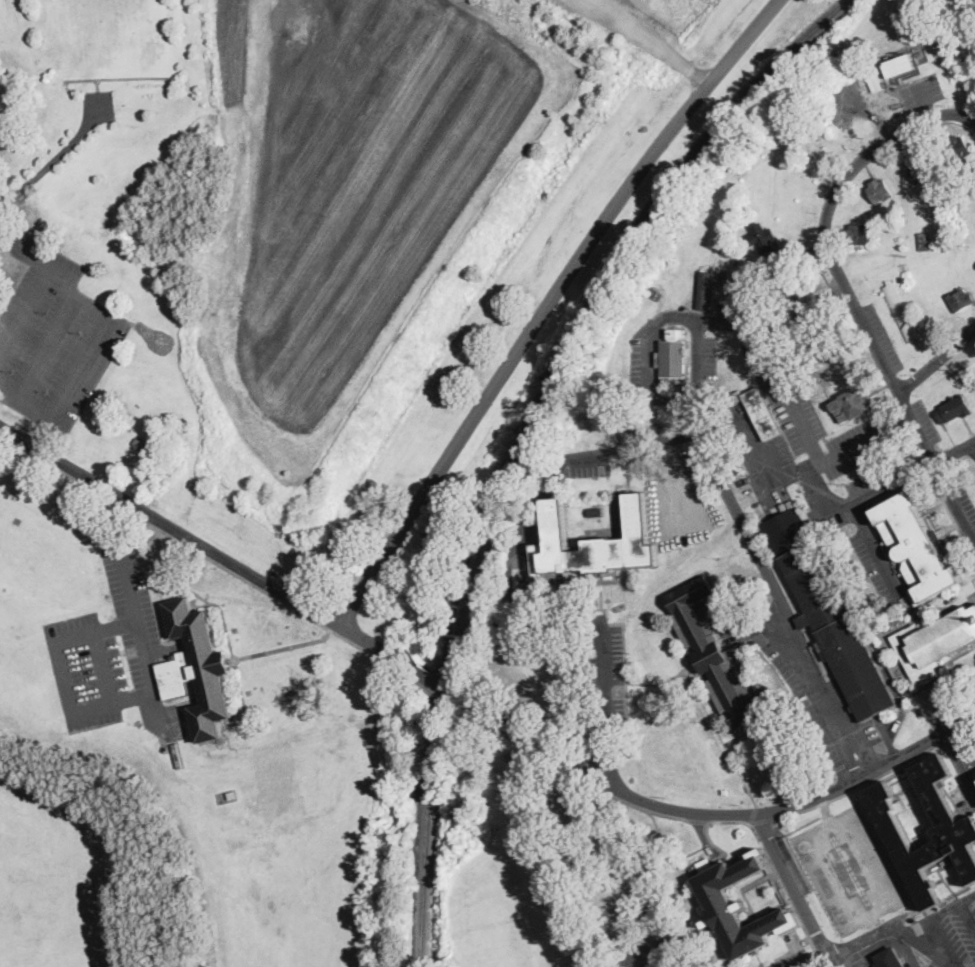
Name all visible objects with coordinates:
park: (106, 36)
road: (649, 41)
building: (899, 64)
building: (959, 147)
building: (919, 169)
road: (848, 172)
building: (880, 191)
building: (860, 234)
building: (762, 238)
building: (925, 241)
building: (737, 246)
road: (26, 247)
building: (735, 253)
building: (761, 278)
building: (904, 279)
building: (705, 291)
building: (800, 297)
building: (961, 300)
road: (547, 304)
road: (26, 310)
building: (900, 311)
road: (678, 314)
parking lot: (54, 338)
parking lot: (877, 338)
road: (874, 340)
building: (827, 346)
road: (49, 349)
road: (89, 356)
building: (673, 356)
road: (696, 356)
parking lot: (707, 356)
road: (937, 358)
road: (650, 366)
parking lot: (639, 369)
road: (777, 377)
road: (895, 382)
building: (739, 395)
parking lot: (799, 397)
road: (902, 397)
road: (673, 398)
building: (852, 404)
building: (954, 409)
building: (763, 413)
road: (899, 419)
road: (916, 425)
road: (39, 431)
parking lot: (643, 433)
railway: (522, 434)
road: (670, 435)
building: (140, 442)
road: (847, 446)
road: (971, 446)
road: (609, 452)
road: (930, 453)
road: (751, 460)
parking lot: (590, 462)
road: (797, 470)
road: (914, 472)
road: (941, 474)
parking lot: (765, 477)
park: (487, 483)
road: (674, 483)
road: (817, 485)
parking lot: (678, 496)
road: (832, 502)
building: (595, 511)
road: (112, 512)
road: (961, 513)
parking lot: (865, 524)
building: (594, 542)
road: (205, 545)
building: (920, 546)
road: (876, 550)
road: (511, 568)
road: (779, 602)
building: (828, 614)
road: (139, 633)
building: (934, 643)
parking lot: (113, 651)
building: (716, 655)
road: (105, 667)
building: (198, 669)
road: (63, 676)
road: (435, 682)
road: (604, 687)
parking lot: (606, 688)
parking lot: (820, 694)
parking lot: (956, 710)
building: (175, 746)
road: (959, 762)
road: (609, 766)
building: (232, 794)
road: (714, 813)
building: (957, 836)
road: (548, 856)
parking lot: (850, 869)
road: (795, 890)
building: (718, 898)
road: (937, 910)
road: (876, 912)
road: (965, 917)
road: (874, 925)
parking lot: (951, 928)
road: (883, 932)
road: (942, 942)
parking lot: (652, 948)
road: (903, 948)
road: (651, 951)
building: (890, 958)
parking lot: (791, 960)
parking lot: (933, 963)
road: (625, 965)

